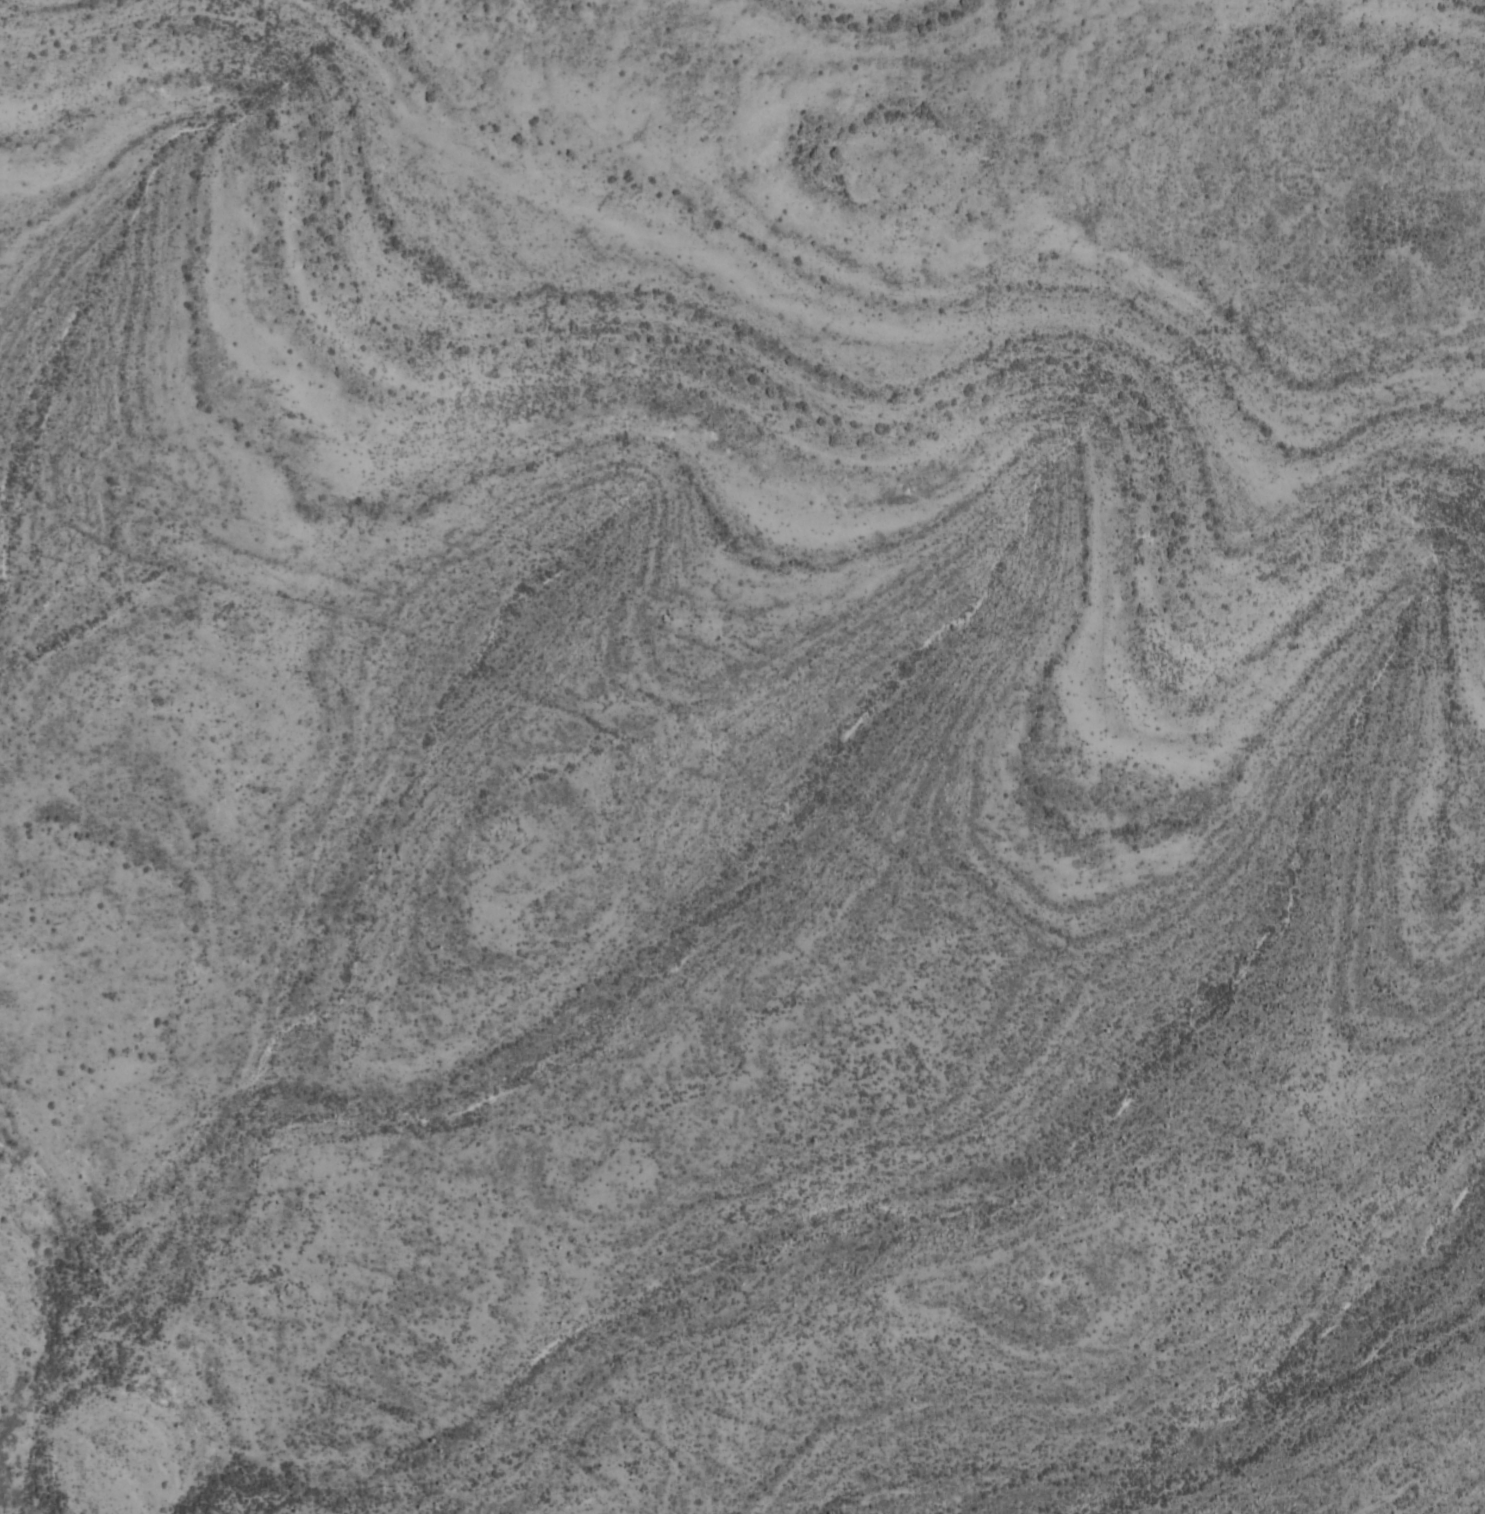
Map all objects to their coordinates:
park: (1280, 767)

